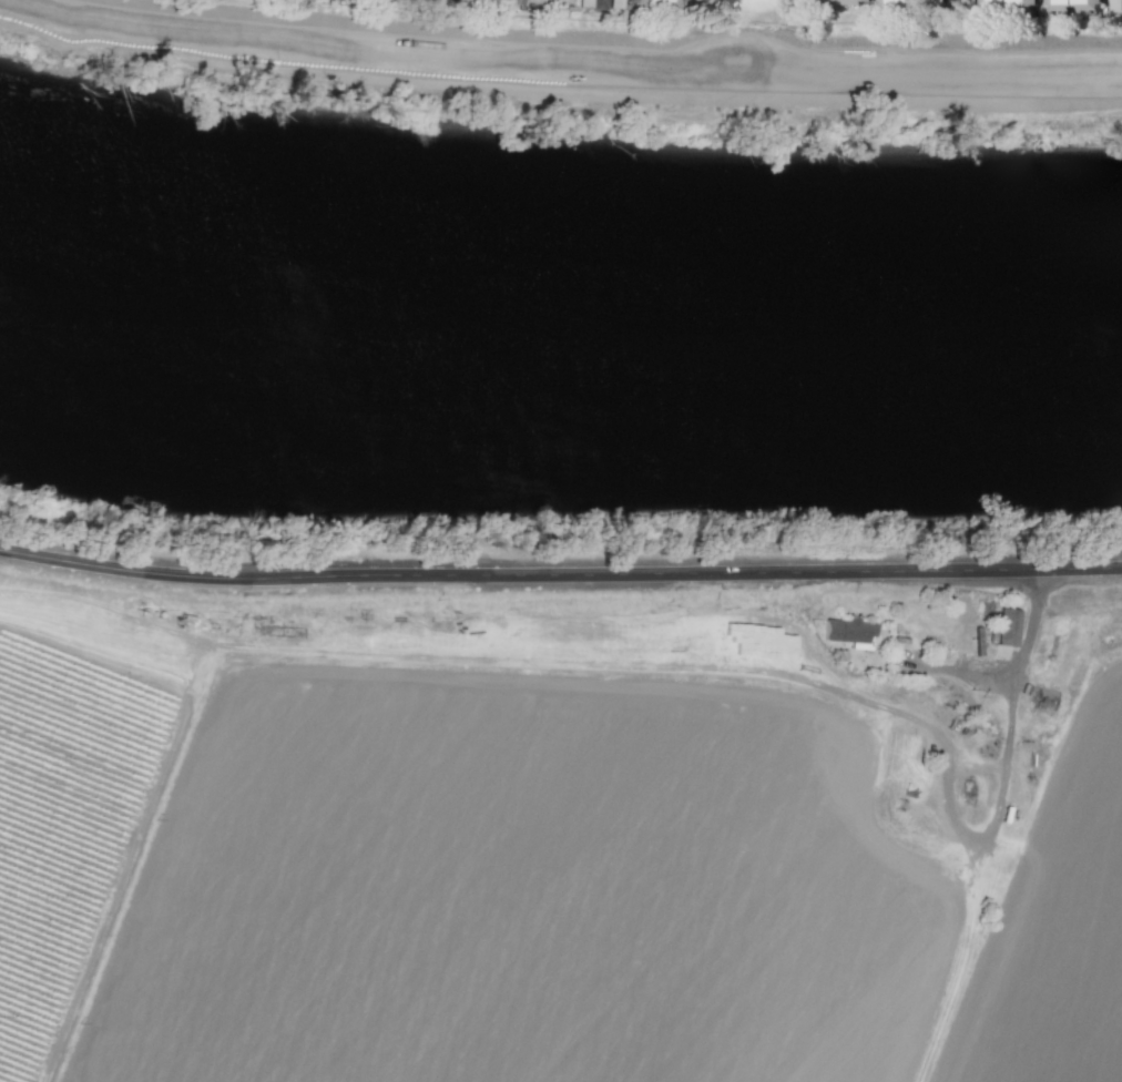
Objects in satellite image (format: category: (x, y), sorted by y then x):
building: (482, 1)
building: (850, 1)
building: (904, 1)
building: (545, 2)
building: (655, 2)
building: (1010, 3)
road: (602, 4)
road: (949, 8)
building: (1055, 9)
park: (748, 28)
road: (390, 29)
road: (746, 42)
road: (559, 59)
river: (558, 354)
road: (560, 572)
building: (1008, 626)
building: (848, 632)
road: (1023, 651)
road: (956, 668)
building: (1045, 695)
crop: (599, 896)

